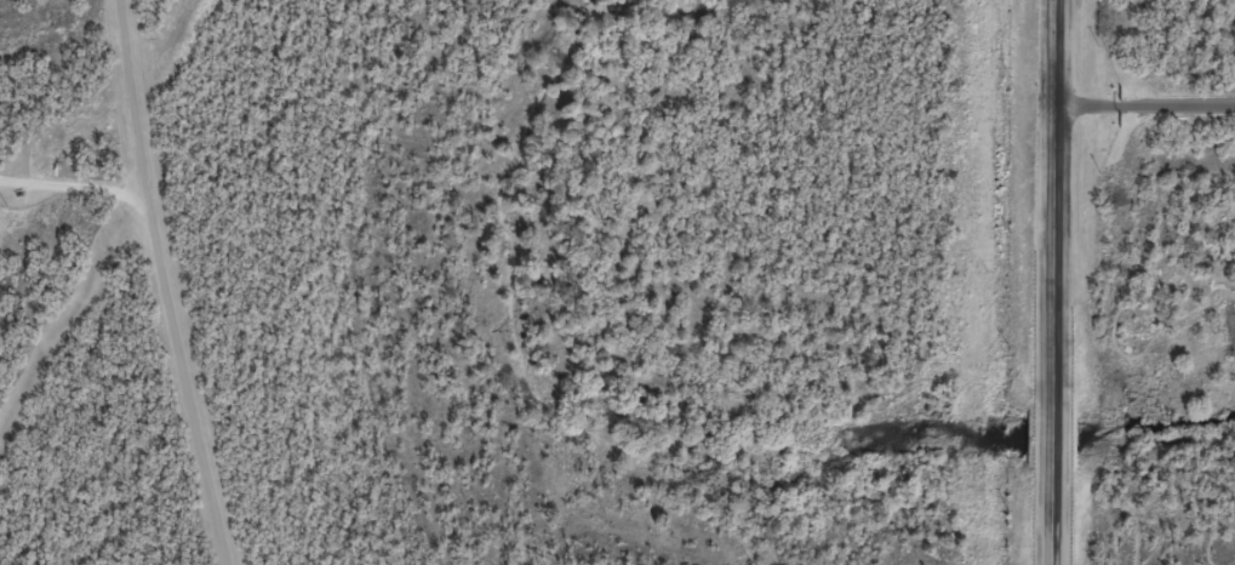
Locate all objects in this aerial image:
road: (1144, 107)
road: (74, 187)
road: (1053, 281)
road: (167, 284)
road: (1145, 286)
road: (1116, 472)
road: (1213, 540)

